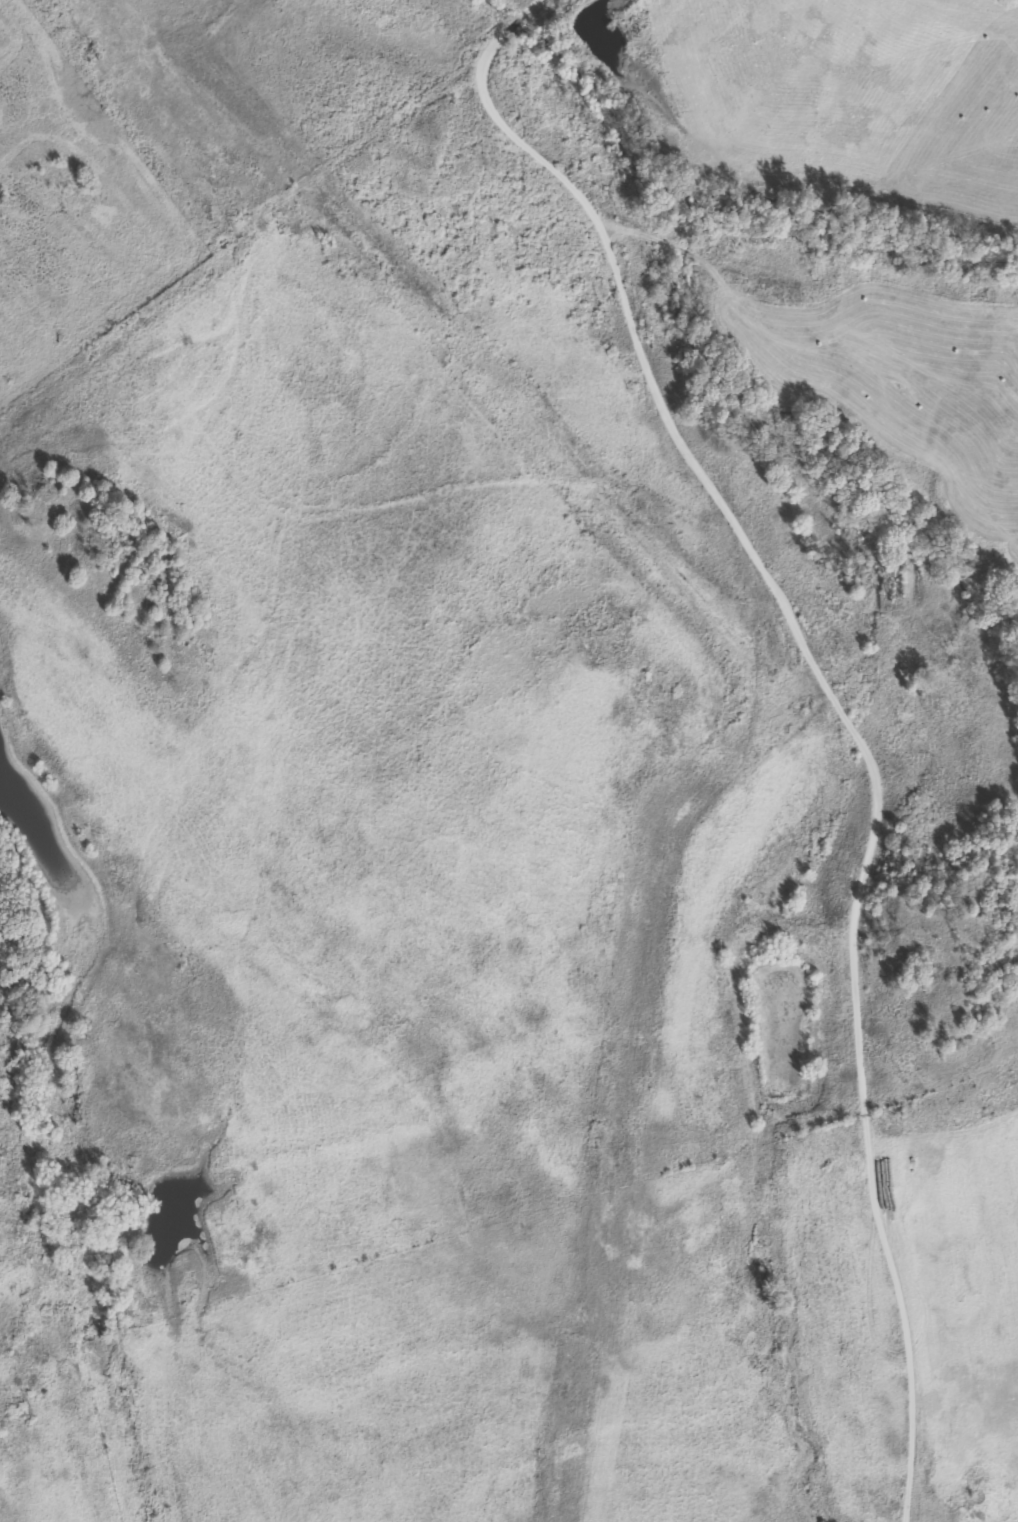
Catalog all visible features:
road: (836, 702)

